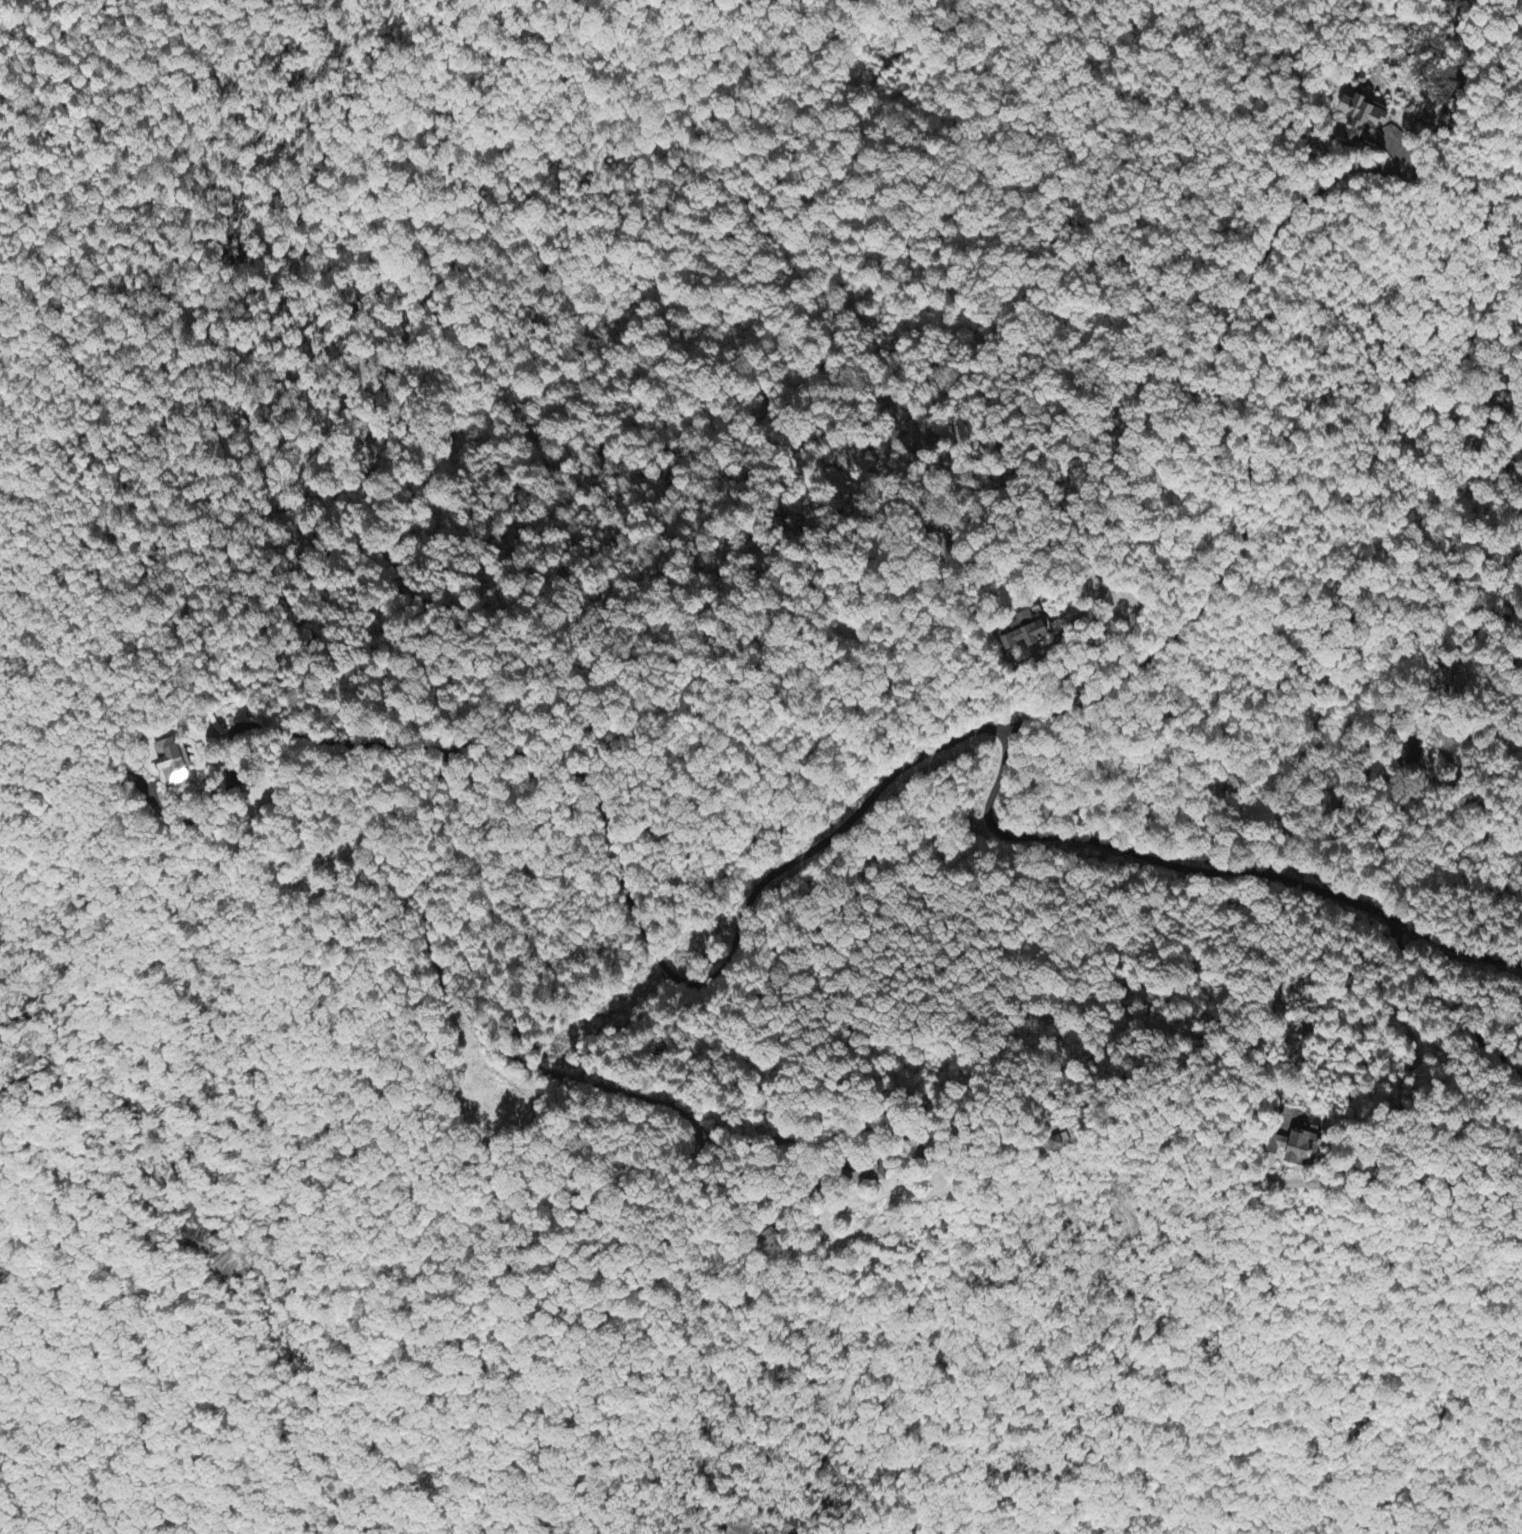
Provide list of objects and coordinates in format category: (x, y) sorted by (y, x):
building: (1362, 117)
building: (1029, 630)
road: (928, 755)
road: (236, 964)

